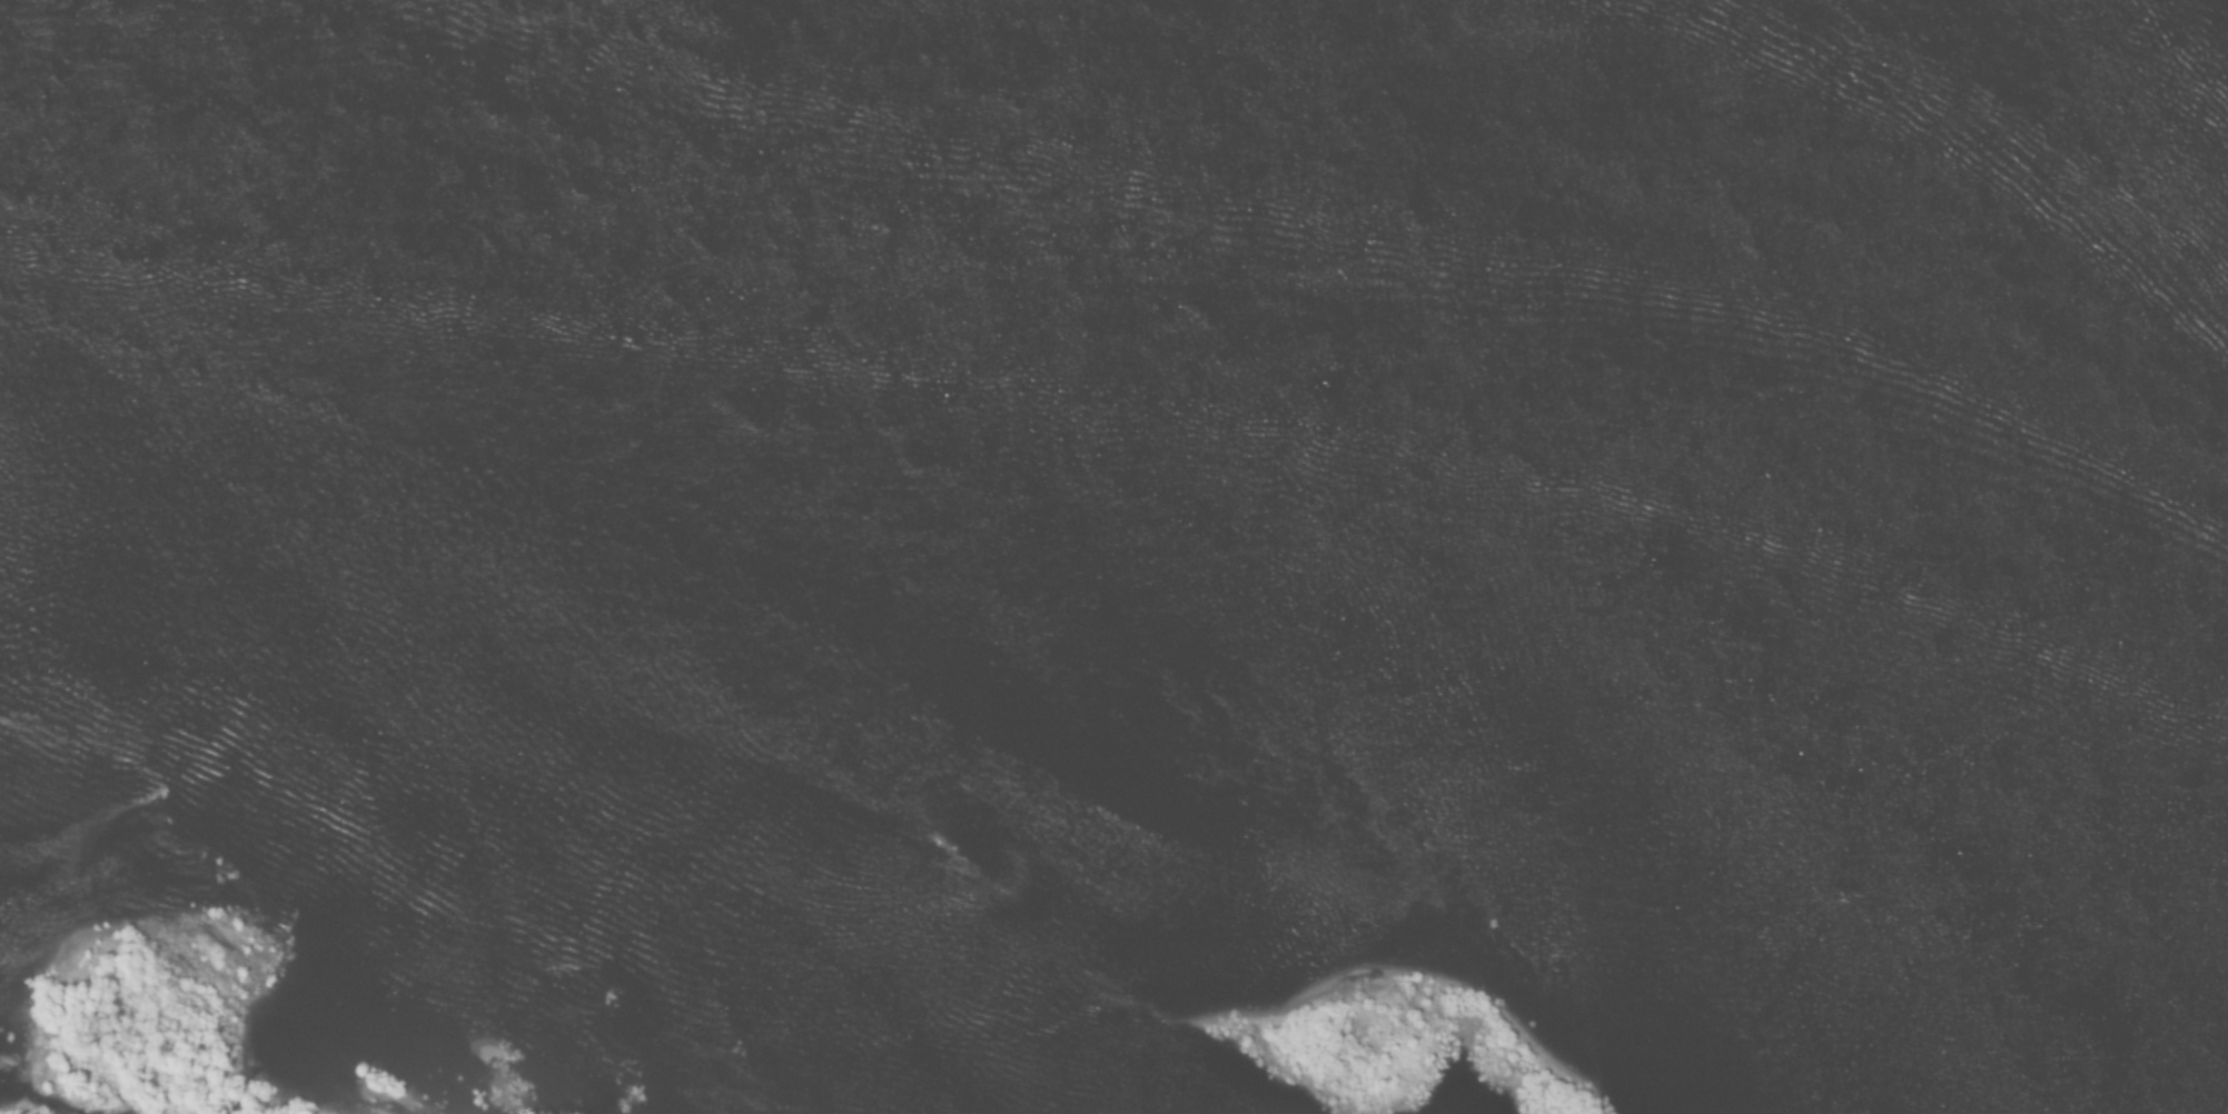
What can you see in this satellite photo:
river: (1145, 431)

